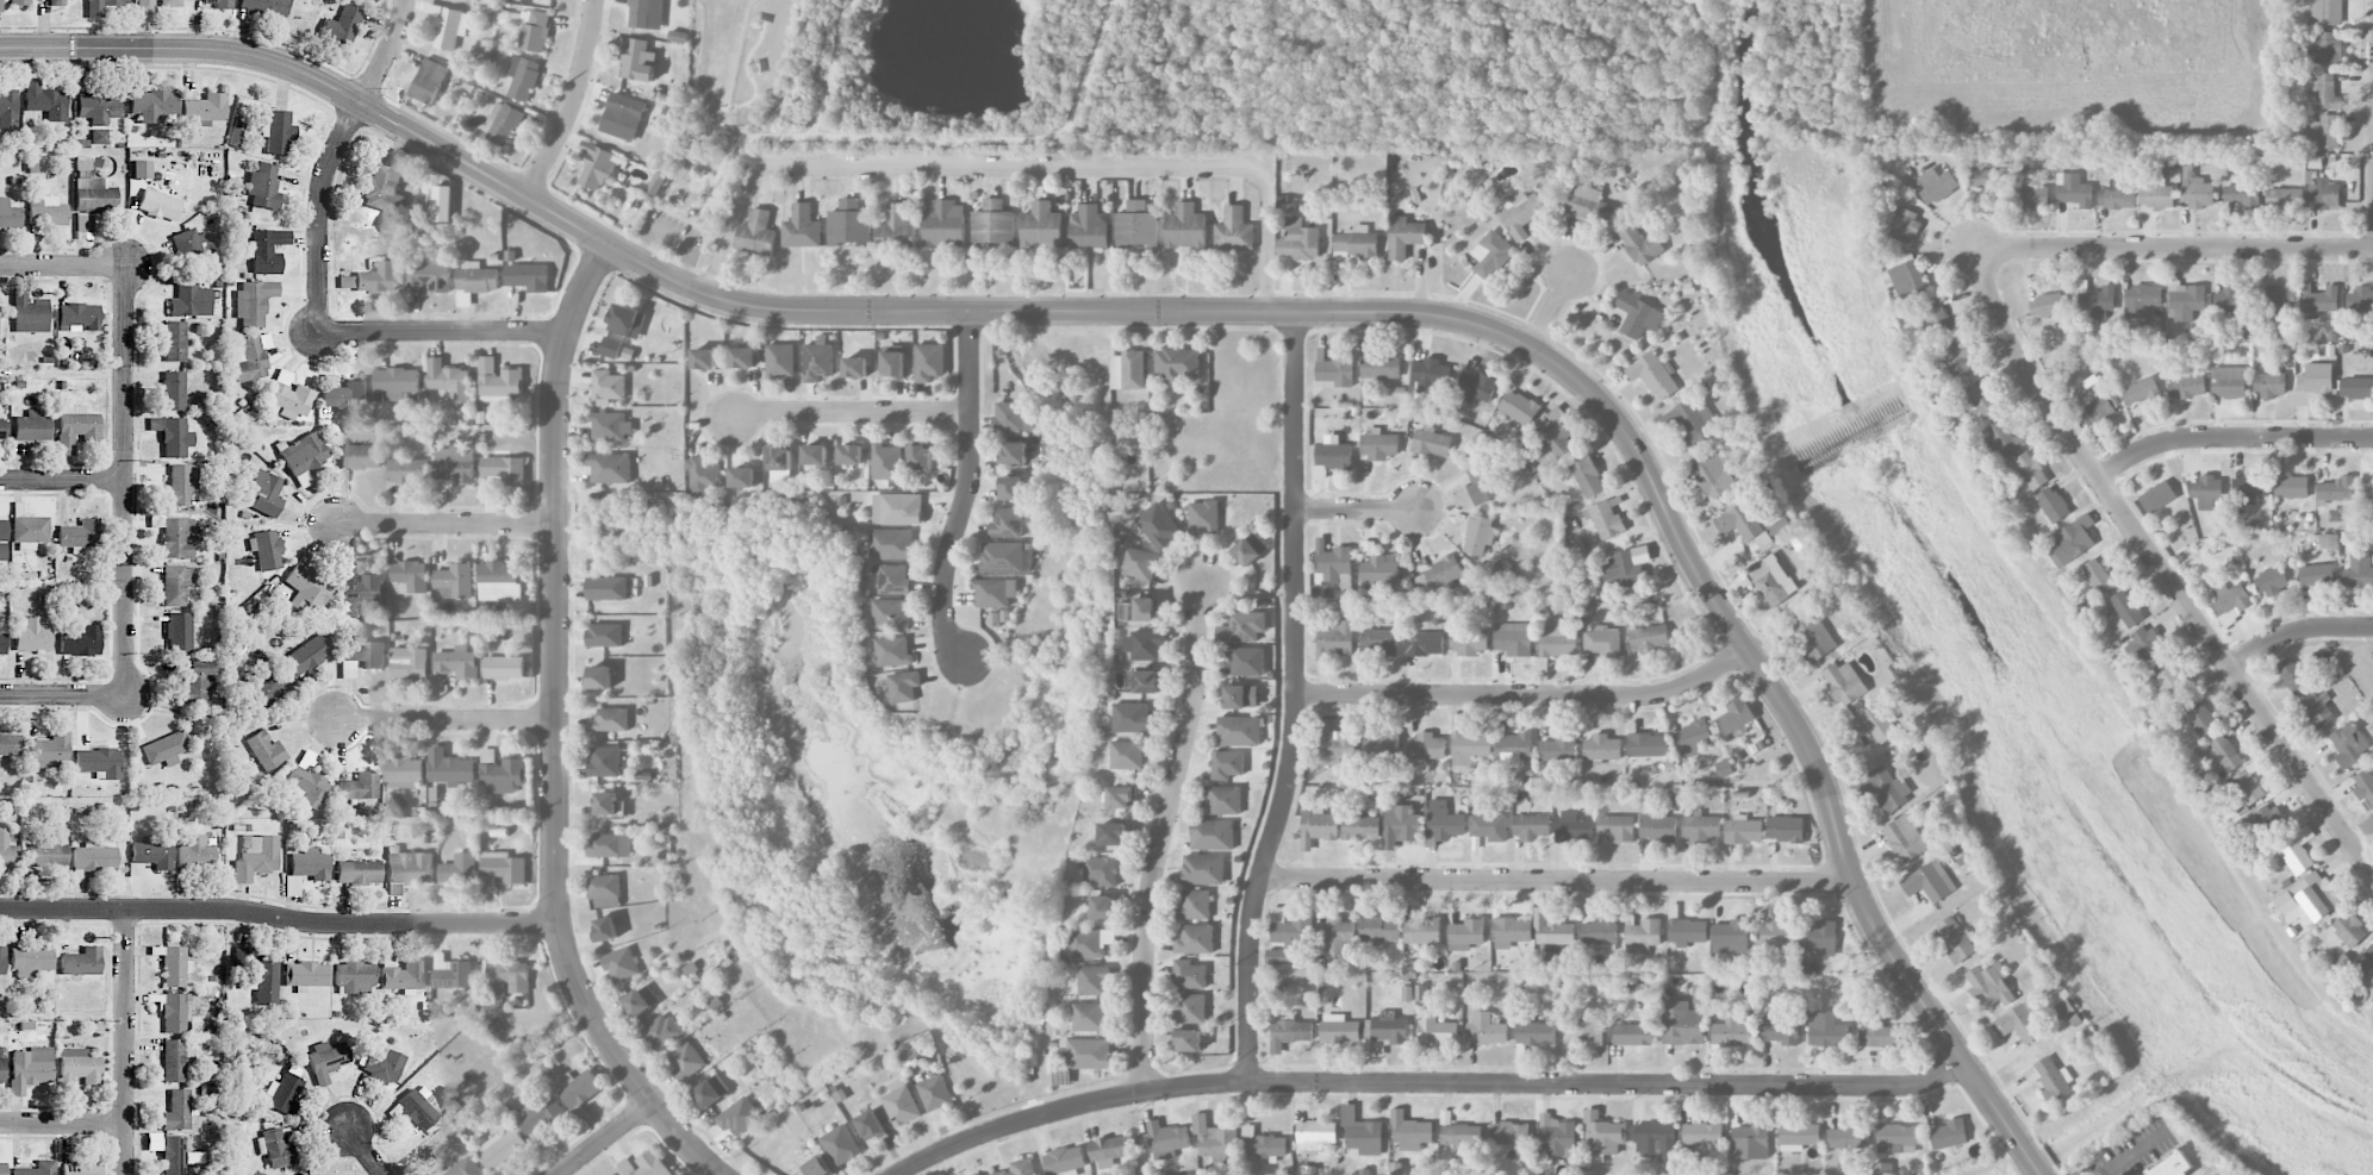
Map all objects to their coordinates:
building: (12, 2)
building: (57, 2)
building: (155, 5)
building: (223, 5)
building: (101, 6)
building: (266, 6)
building: (2327, 12)
building: (647, 14)
building: (341, 26)
building: (535, 31)
building: (679, 37)
building: (2325, 48)
building: (637, 61)
building: (523, 77)
building: (428, 81)
park: (1247, 81)
building: (2325, 92)
building: (45, 100)
road: (571, 102)
building: (151, 105)
building: (205, 107)
building: (7, 110)
building: (98, 113)
building: (622, 117)
building: (504, 124)
building: (278, 131)
building: (2324, 132)
road: (941, 143)
road: (727, 157)
road: (332, 158)
building: (597, 167)
road: (1010, 168)
building: (141, 169)
building: (1986, 179)
building: (656, 183)
building: (263, 186)
building: (1936, 186)
building: (382, 188)
building: (2074, 190)
building: (2196, 190)
building: (2156, 193)
building: (2324, 194)
building: (2242, 195)
building: (2031, 196)
building: (2117, 196)
building: (91, 199)
building: (2284, 199)
building: (442, 204)
building: (158, 205)
building: (1589, 206)
building: (46, 211)
building: (1519, 211)
building: (10, 214)
building: (849, 224)
building: (943, 224)
building: (992, 225)
building: (1136, 225)
building: (1041, 226)
building: (1905, 226)
building: (802, 227)
building: (897, 227)
building: (1089, 227)
building: (1185, 227)
building: (1234, 230)
building: (756, 233)
parking lot: (673, 236)
building: (1405, 237)
road: (672, 238)
building: (1298, 242)
building: (188, 245)
building: (1354, 245)
building: (1640, 245)
road: (2173, 248)
building: (267, 250)
building: (1490, 255)
road: (63, 264)
building: (429, 276)
building: (528, 276)
building: (477, 277)
building: (378, 279)
building: (2277, 296)
building: (189, 298)
building: (2098, 299)
building: (2230, 300)
building: (2318, 300)
building: (2360, 300)
building: (254, 301)
building: (2186, 302)
building: (2140, 304)
building: (2045, 306)
road: (1551, 310)
road: (1229, 311)
building: (29, 314)
building: (1638, 314)
building: (79, 315)
building: (1938, 319)
building: (627, 321)
road: (444, 333)
building: (175, 340)
building: (610, 348)
building: (251, 357)
building: (742, 357)
building: (704, 358)
building: (1956, 358)
building: (818, 360)
building: (780, 361)
building: (929, 362)
building: (1378, 363)
building: (892, 364)
building: (1177, 365)
building: (855, 367)
building: (1127, 370)
building: (1335, 371)
building: (1430, 375)
building: (1653, 375)
building: (448, 380)
building: (498, 381)
building: (395, 382)
building: (2229, 382)
building: (2315, 383)
building: (1475, 385)
building: (2269, 385)
building: (608, 386)
building: (2187, 387)
building: (2355, 388)
building: (173, 390)
building: (2140, 390)
building: (288, 395)
building: (1982, 399)
building: (1519, 407)
road: (851, 411)
building: (2097, 412)
building: (1013, 418)
building: (1690, 420)
building: (32, 426)
building: (610, 426)
building: (75, 427)
building: (1, 430)
building: (1556, 435)
building: (172, 436)
building: (2005, 439)
road: (2231, 439)
building: (1432, 443)
building: (1378, 444)
building: (1014, 452)
building: (815, 455)
building: (851, 455)
building: (303, 456)
building: (1331, 456)
building: (360, 457)
building: (921, 457)
building: (780, 458)
building: (886, 462)
building: (610, 468)
building: (504, 469)
building: (2031, 470)
building: (409, 471)
building: (1715, 476)
building: (702, 477)
building: (742, 477)
building: (1588, 477)
road: (63, 480)
road: (127, 481)
building: (180, 485)
building: (1482, 486)
building: (2250, 487)
building: (2292, 487)
building: (1010, 488)
building: (2368, 488)
building: (2336, 489)
road: (967, 492)
building: (2207, 492)
building: (263, 493)
building: (2157, 496)
building: (2054, 502)
building: (897, 510)
road: (1356, 510)
building: (1204, 517)
building: (1606, 518)
building: (1740, 521)
building: (1007, 523)
road: (447, 525)
building: (1159, 526)
building: (1781, 527)
building: (30, 529)
building: (80, 533)
building: (1478, 535)
building: (175, 536)
building: (2, 539)
building: (1767, 540)
building: (2072, 542)
building: (891, 544)
building: (266, 549)
building: (1250, 550)
building: (1332, 561)
building: (1139, 564)
building: (1627, 568)
road: (2161, 568)
building: (1379, 573)
building: (411, 575)
building: (2316, 575)
building: (2100, 576)
building: (1437, 577)
building: (893, 579)
building: (2356, 579)
building: (1773, 580)
building: (499, 581)
building: (454, 582)
building: (2272, 582)
building: (176, 585)
building: (360, 587)
building: (306, 588)
building: (608, 588)
building: (994, 592)
building: (1323, 592)
building: (2231, 599)
building: (2126, 607)
building: (1145, 610)
building: (891, 614)
building: (1244, 627)
building: (177, 632)
road: (2297, 632)
building: (31, 635)
building: (605, 636)
building: (1811, 637)
building: (1649, 638)
building: (1335, 639)
building: (1513, 639)
building: (1558, 639)
building: (81, 640)
building: (1466, 640)
building: (1379, 642)
building: (1602, 642)
building: (1424, 643)
building: (2, 644)
building: (1144, 645)
building: (2143, 645)
building: (892, 651)
building: (306, 655)
building: (360, 655)
building: (459, 662)
building: (1247, 662)
building: (409, 663)
building: (504, 668)
building: (600, 677)
building: (2292, 677)
building: (1144, 681)
building: (197, 682)
building: (2170, 682)
building: (1845, 683)
building: (904, 686)
building: (266, 689)
road: (63, 696)
building: (1235, 696)
road: (1527, 696)
road: (1294, 699)
building: (2318, 708)
building: (1733, 717)
building: (1132, 718)
building: (2200, 718)
building: (610, 720)
road: (446, 721)
building: (1875, 724)
road: (554, 731)
building: (1239, 731)
building: (1693, 738)
building: (1335, 743)
building: (10, 744)
building: (1381, 744)
building: (2348, 744)
building: (1515, 745)
building: (1648, 745)
building: (166, 746)
building: (1426, 748)
building: (1558, 748)
building: (1602, 748)
building: (1469, 749)
building: (49, 750)
building: (264, 750)
building: (2224, 752)
building: (1127, 755)
building: (99, 762)
building: (604, 762)
building: (1226, 764)
building: (1724, 769)
building: (451, 771)
building: (403, 773)
building: (503, 776)
building: (306, 782)
building: (359, 787)
building: (2247, 787)
building: (2365, 788)
building: (1889, 789)
building: (1119, 798)
building: (1223, 800)
building: (1676, 800)
building: (606, 804)
building: (1443, 823)
building: (2266, 823)
building: (1401, 825)
building: (1531, 826)
building: (1701, 826)
building: (1318, 827)
building: (1360, 827)
building: (1489, 827)
building: (1574, 827)
building: (1617, 827)
building: (1658, 829)
building: (1743, 830)
building: (1786, 830)
building: (1113, 835)
road: (1160, 835)
building: (1212, 835)
building: (1905, 838)
building: (609, 845)
building: (7, 852)
building: (197, 852)
building: (154, 854)
building: (48, 855)
building: (256, 856)
building: (93, 858)
building: (2294, 858)
building: (309, 867)
building: (407, 869)
building: (459, 869)
building: (502, 869)
building: (1203, 869)
building: (359, 871)
building: (1101, 871)
road: (1557, 882)
building: (1929, 882)
building: (605, 890)
building: (2307, 899)
building: (1195, 905)
building: (1102, 906)
road: (279, 917)
building: (605, 929)
building: (1290, 929)
building: (1379, 929)
building: (1551, 930)
building: (2349, 930)
building: (1422, 931)
building: (1511, 932)
building: (1687, 932)
building: (1334, 933)
building: (1640, 933)
building: (1466, 935)
building: (1599, 935)
building: (1775, 935)
building: (1731, 939)
building: (1819, 939)
building: (1194, 940)
building: (1956, 940)
building: (1085, 944)
building: (1277, 957)
building: (2, 960)
building: (31, 961)
building: (82, 962)
building: (2366, 963)
building: (173, 964)
building: (622, 964)
building: (451, 974)
building: (257, 975)
building: (306, 975)
building: (403, 975)
building: (1189, 975)
building: (506, 976)
building: (354, 977)
building: (1094, 980)
building: (1992, 985)
building: (641, 1001)
building: (1190, 1007)
building: (2063, 1008)
building: (174, 1013)
building: (1089, 1017)
building: (2019, 1023)
building: (1682, 1024)
building: (1782, 1027)
building: (1339, 1029)
building: (1389, 1029)
building: (1486, 1030)
building: (1437, 1031)
building: (1586, 1031)
building: (1827, 1031)
building: (661, 1032)
building: (1879, 1032)
building: (1290, 1033)
building: (1536, 1033)
building: (1731, 1033)
building: (1633, 1035)
building: (1188, 1040)
road: (126, 1043)
building: (1085, 1054)
building: (175, 1060)
building: (326, 1060)
building: (686, 1061)
building: (381, 1063)
building: (1, 1064)
building: (30, 1068)
building: (77, 1068)
building: (2050, 1080)
road: (1427, 1085)
building: (579, 1087)
building: (711, 1090)
building: (282, 1092)
building: (934, 1094)
building: (901, 1104)
building: (421, 1107)
building: (179, 1111)
building: (542, 1117)
building: (739, 1118)
building: (1200, 1124)
road: (63, 1125)
building: (870, 1125)
building: (1410, 1132)
building: (1509, 1133)
building: (1603, 1133)
building: (1315, 1135)
building: (1462, 1135)
building: (1702, 1135)
building: (1949, 1135)
building: (1798, 1136)
building: (1557, 1137)
road: (605, 1138)
building: (1366, 1138)
building: (1166, 1139)
building: (1845, 1139)
building: (1896, 1139)
building: (1656, 1142)
building: (1751, 1142)
building: (1219, 1143)
building: (1263, 1144)
building: (840, 1145)
building: (1109, 1148)
building: (502, 1149)
building: (276, 1150)
road: (366, 1152)
road: (2131, 1152)
building: (173, 1155)
building: (1065, 1161)
building: (644, 1164)
building: (2173, 1165)
building: (817, 1167)
building: (2, 1168)
building: (81, 1168)
building: (466, 1168)
building: (1020, 1168)
building: (1882, 1168)
building: (37, 1169)
building: (303, 1173)
building: (978, 1174)
building: (2120, 1174)

